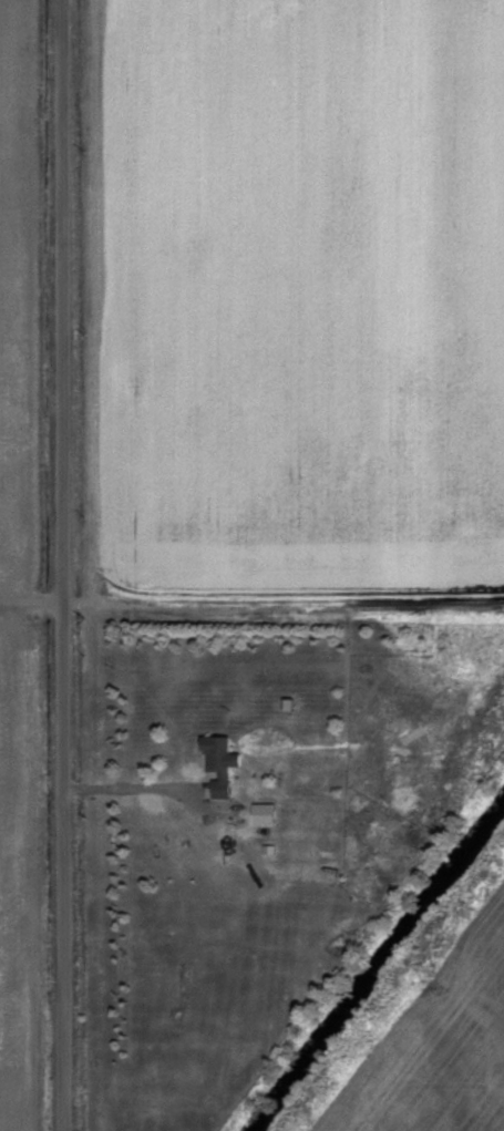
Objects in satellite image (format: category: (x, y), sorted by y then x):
road: (62, 565)
road: (44, 599)
road: (82, 599)
building: (341, 747)
building: (219, 751)
road: (154, 786)
building: (266, 815)

